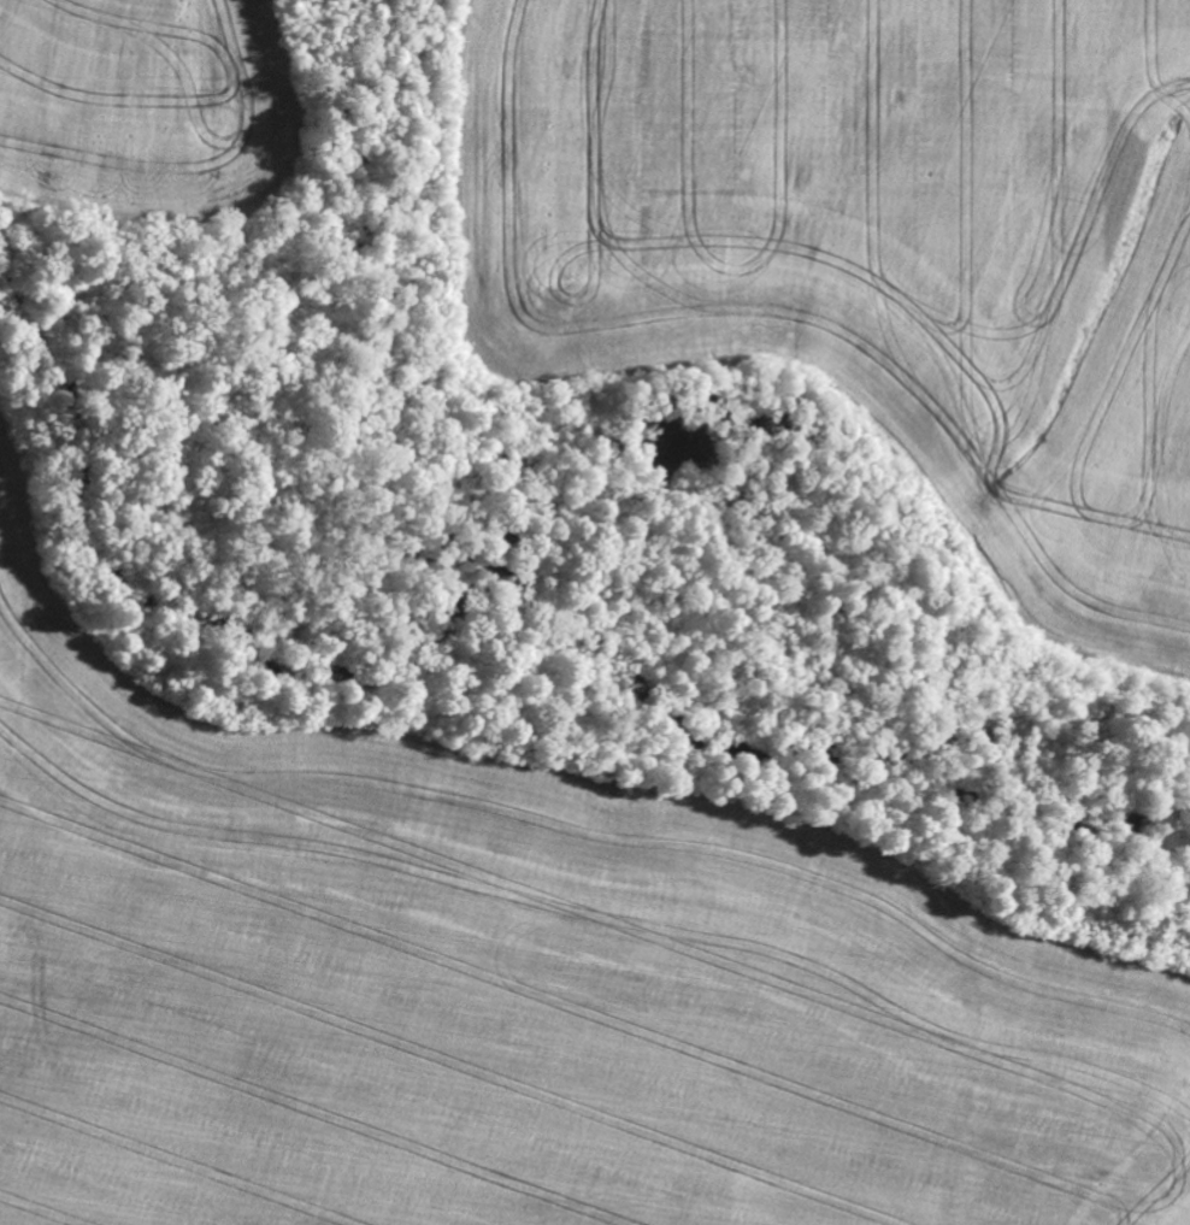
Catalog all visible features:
road: (1072, 82)

